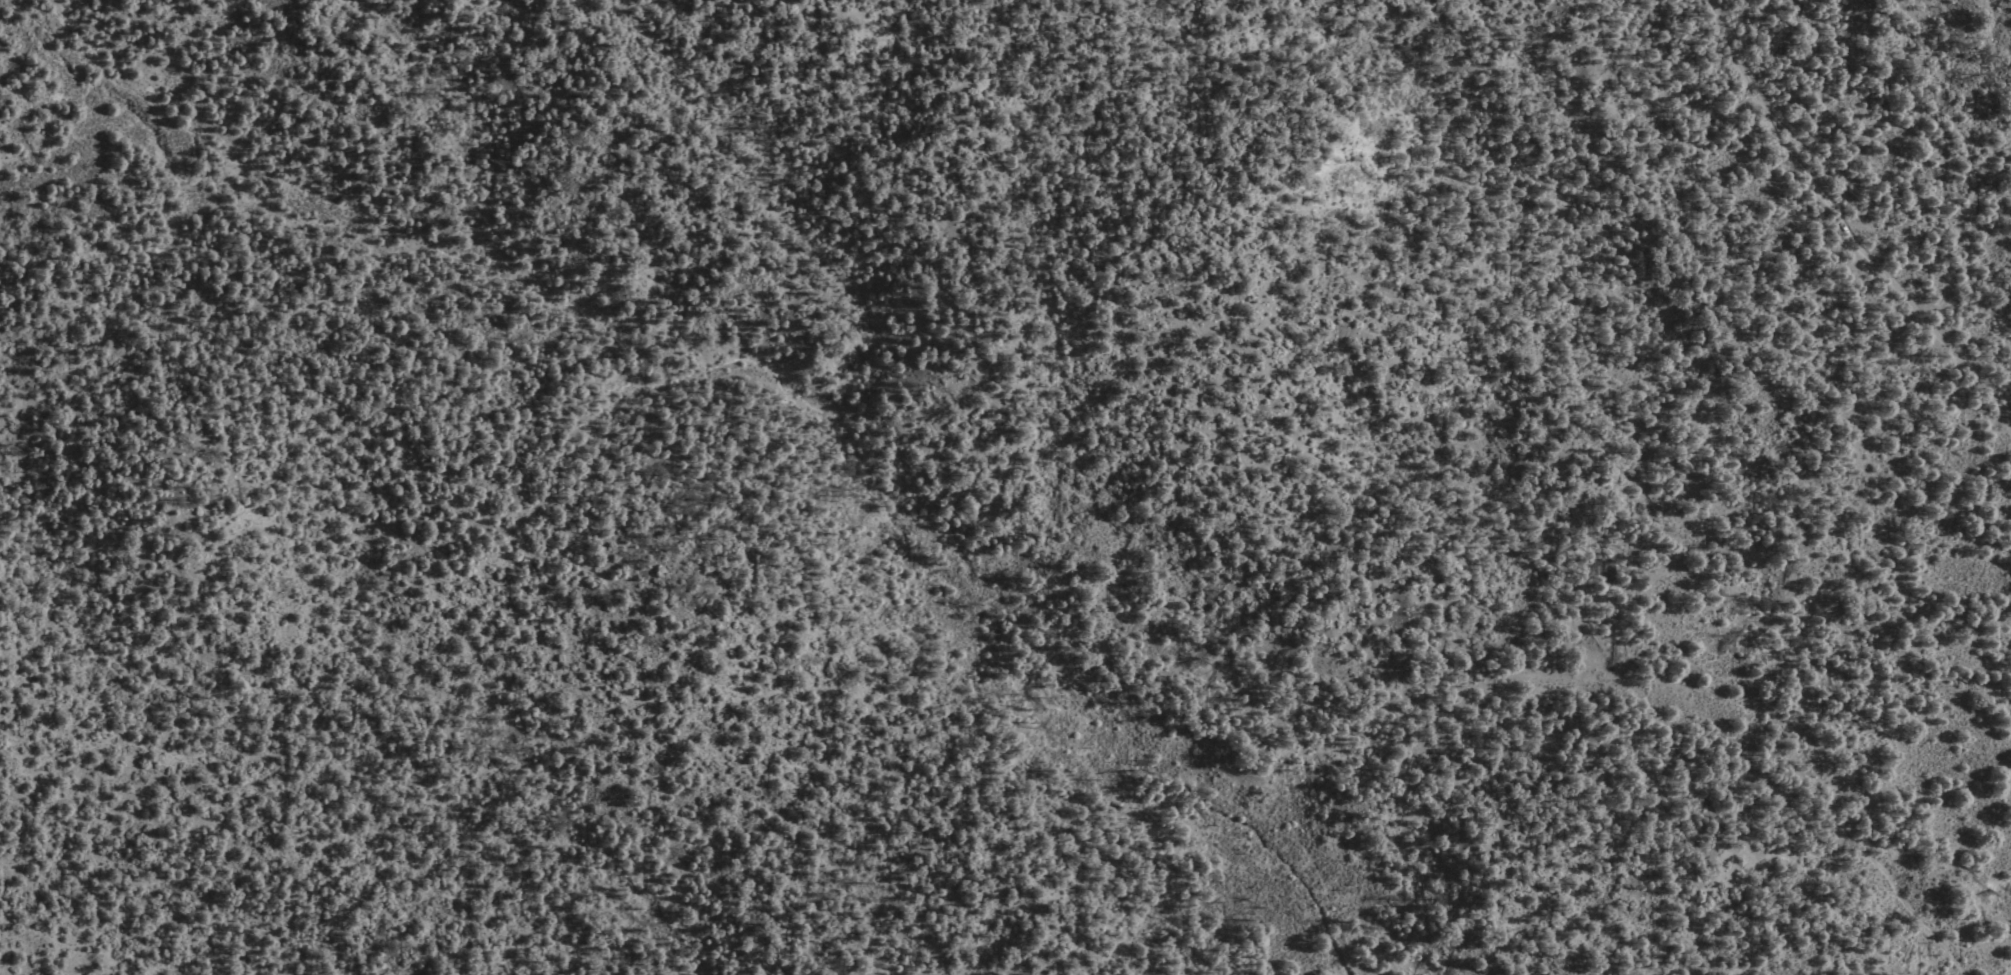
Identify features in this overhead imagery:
road: (1794, 162)
road: (1961, 358)
building: (1702, 852)
road: (1872, 862)

